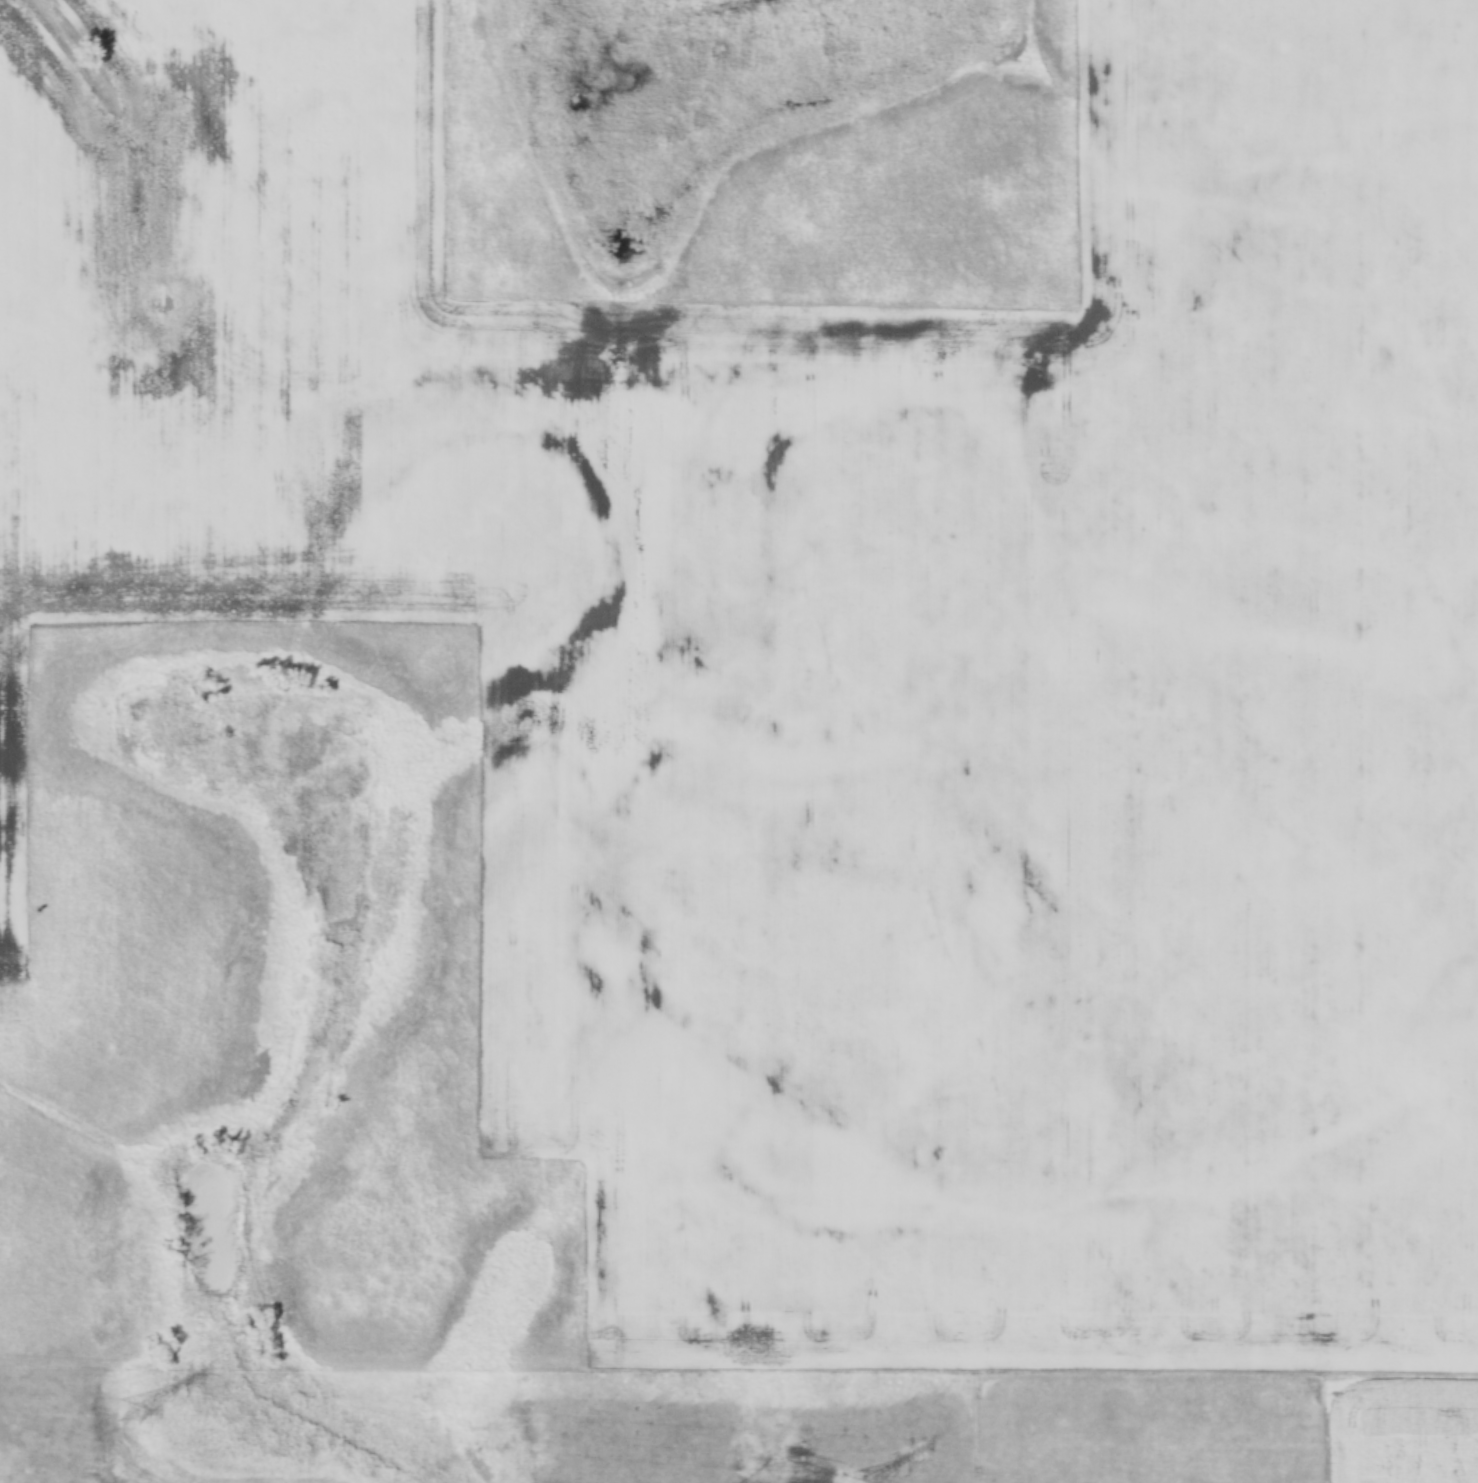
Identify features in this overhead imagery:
power tower: (109, 1410)
power tower: (833, 1473)

